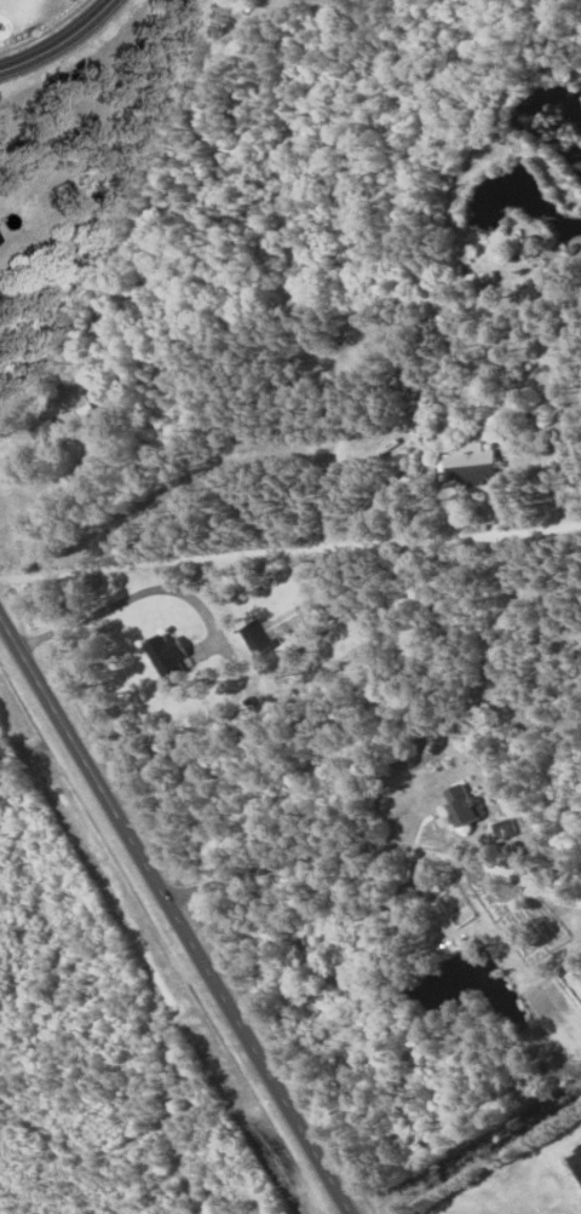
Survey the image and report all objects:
road: (59, 42)
building: (0, 242)
building: (470, 464)
road: (290, 540)
building: (169, 656)
building: (467, 805)
building: (505, 830)
road: (374, 841)
road: (173, 915)

